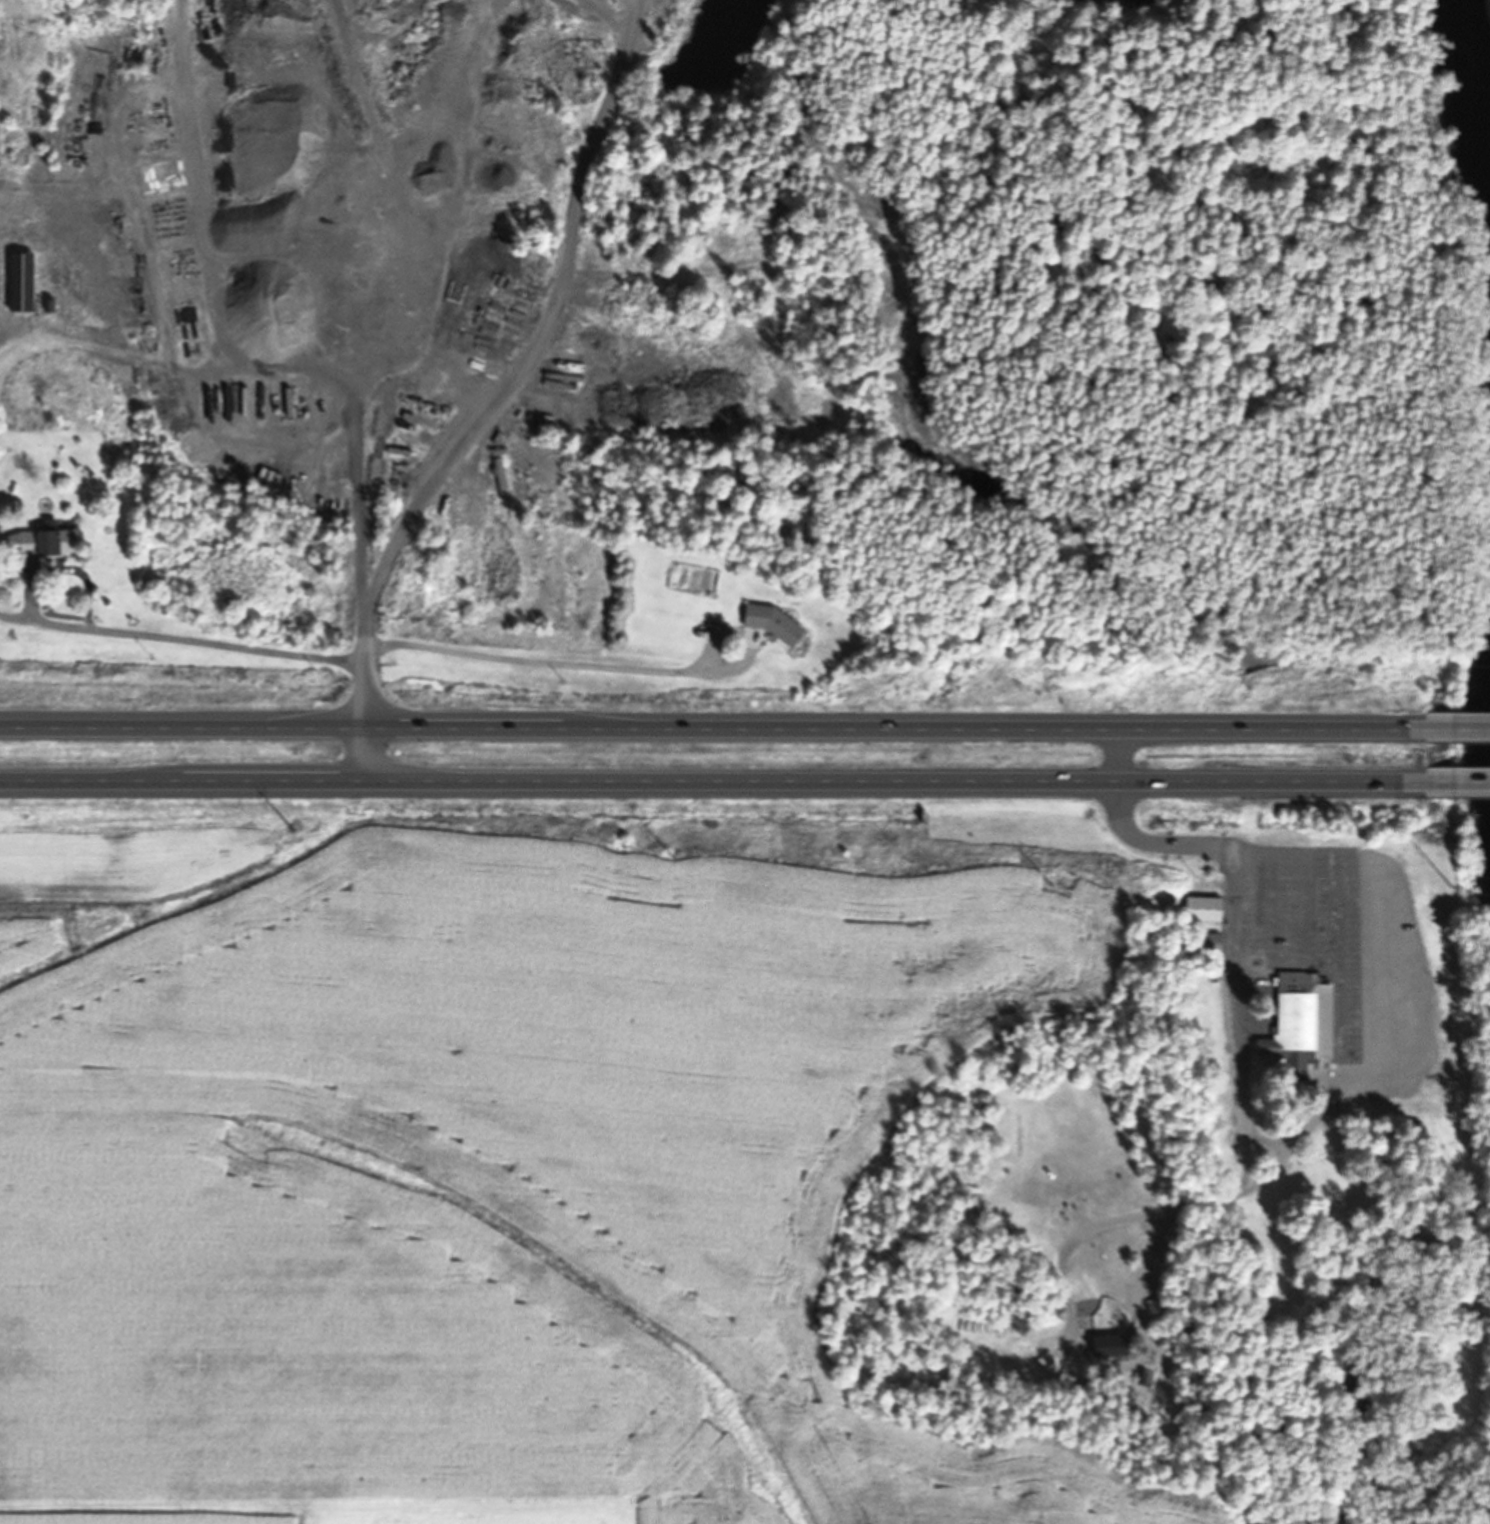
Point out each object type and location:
river: (1483, 46)
quarry: (1079, 189)
quarry: (1079, 189)
building: (18, 282)
quarry: (379, 337)
quarry: (67, 400)
building: (38, 543)
building: (471, 563)
road: (363, 668)
road: (712, 726)
road: (1458, 727)
road: (1454, 784)
road: (709, 785)
power tower: (292, 829)
road: (1187, 845)
power tower: (670, 857)
power tower: (1049, 883)
power tower: (1450, 884)
building: (1200, 908)
building: (1207, 942)
building: (1298, 1020)
building: (1152, 1305)
building: (1106, 1345)

